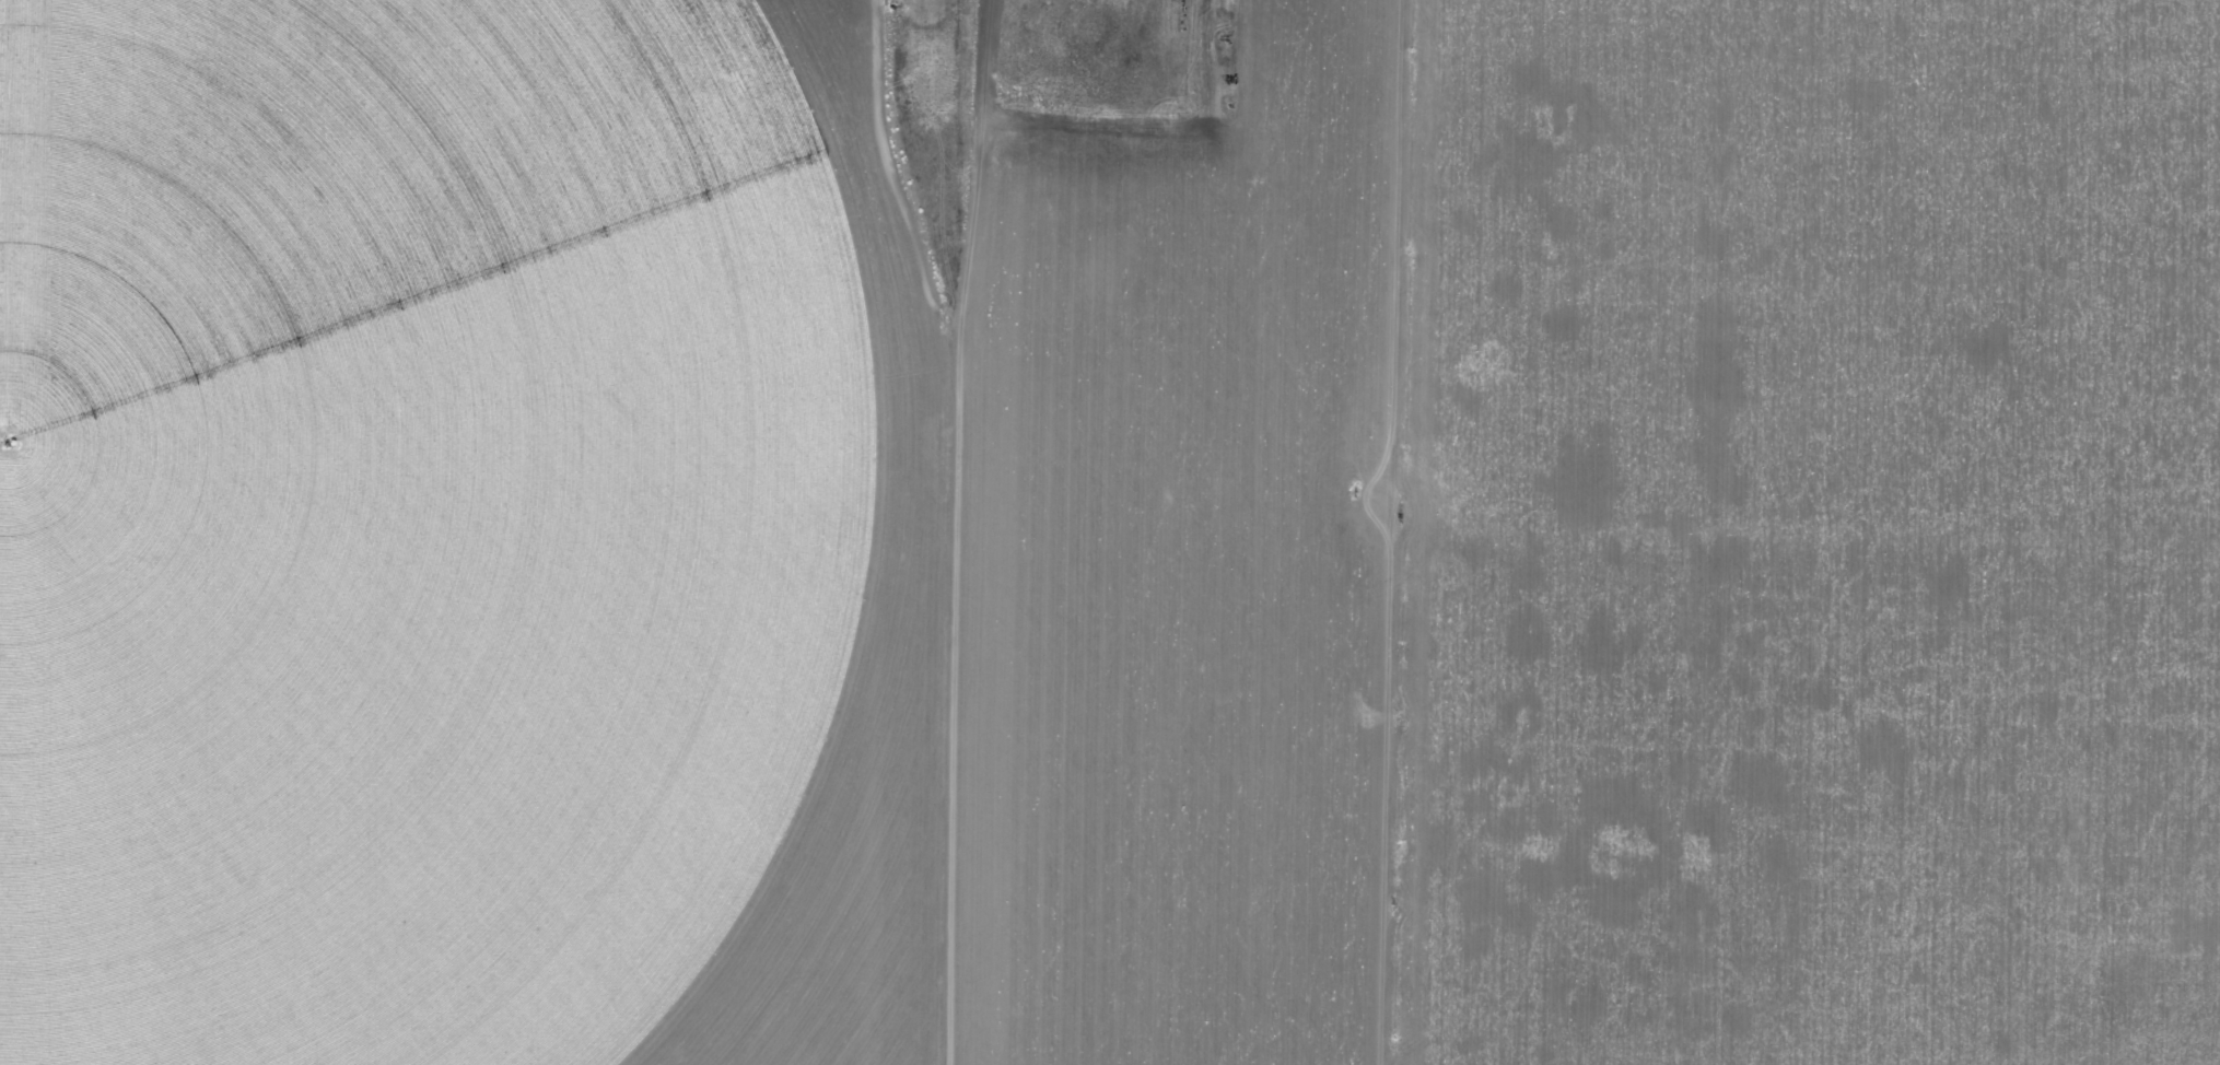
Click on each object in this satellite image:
road: (1397, 222)
road: (915, 524)

